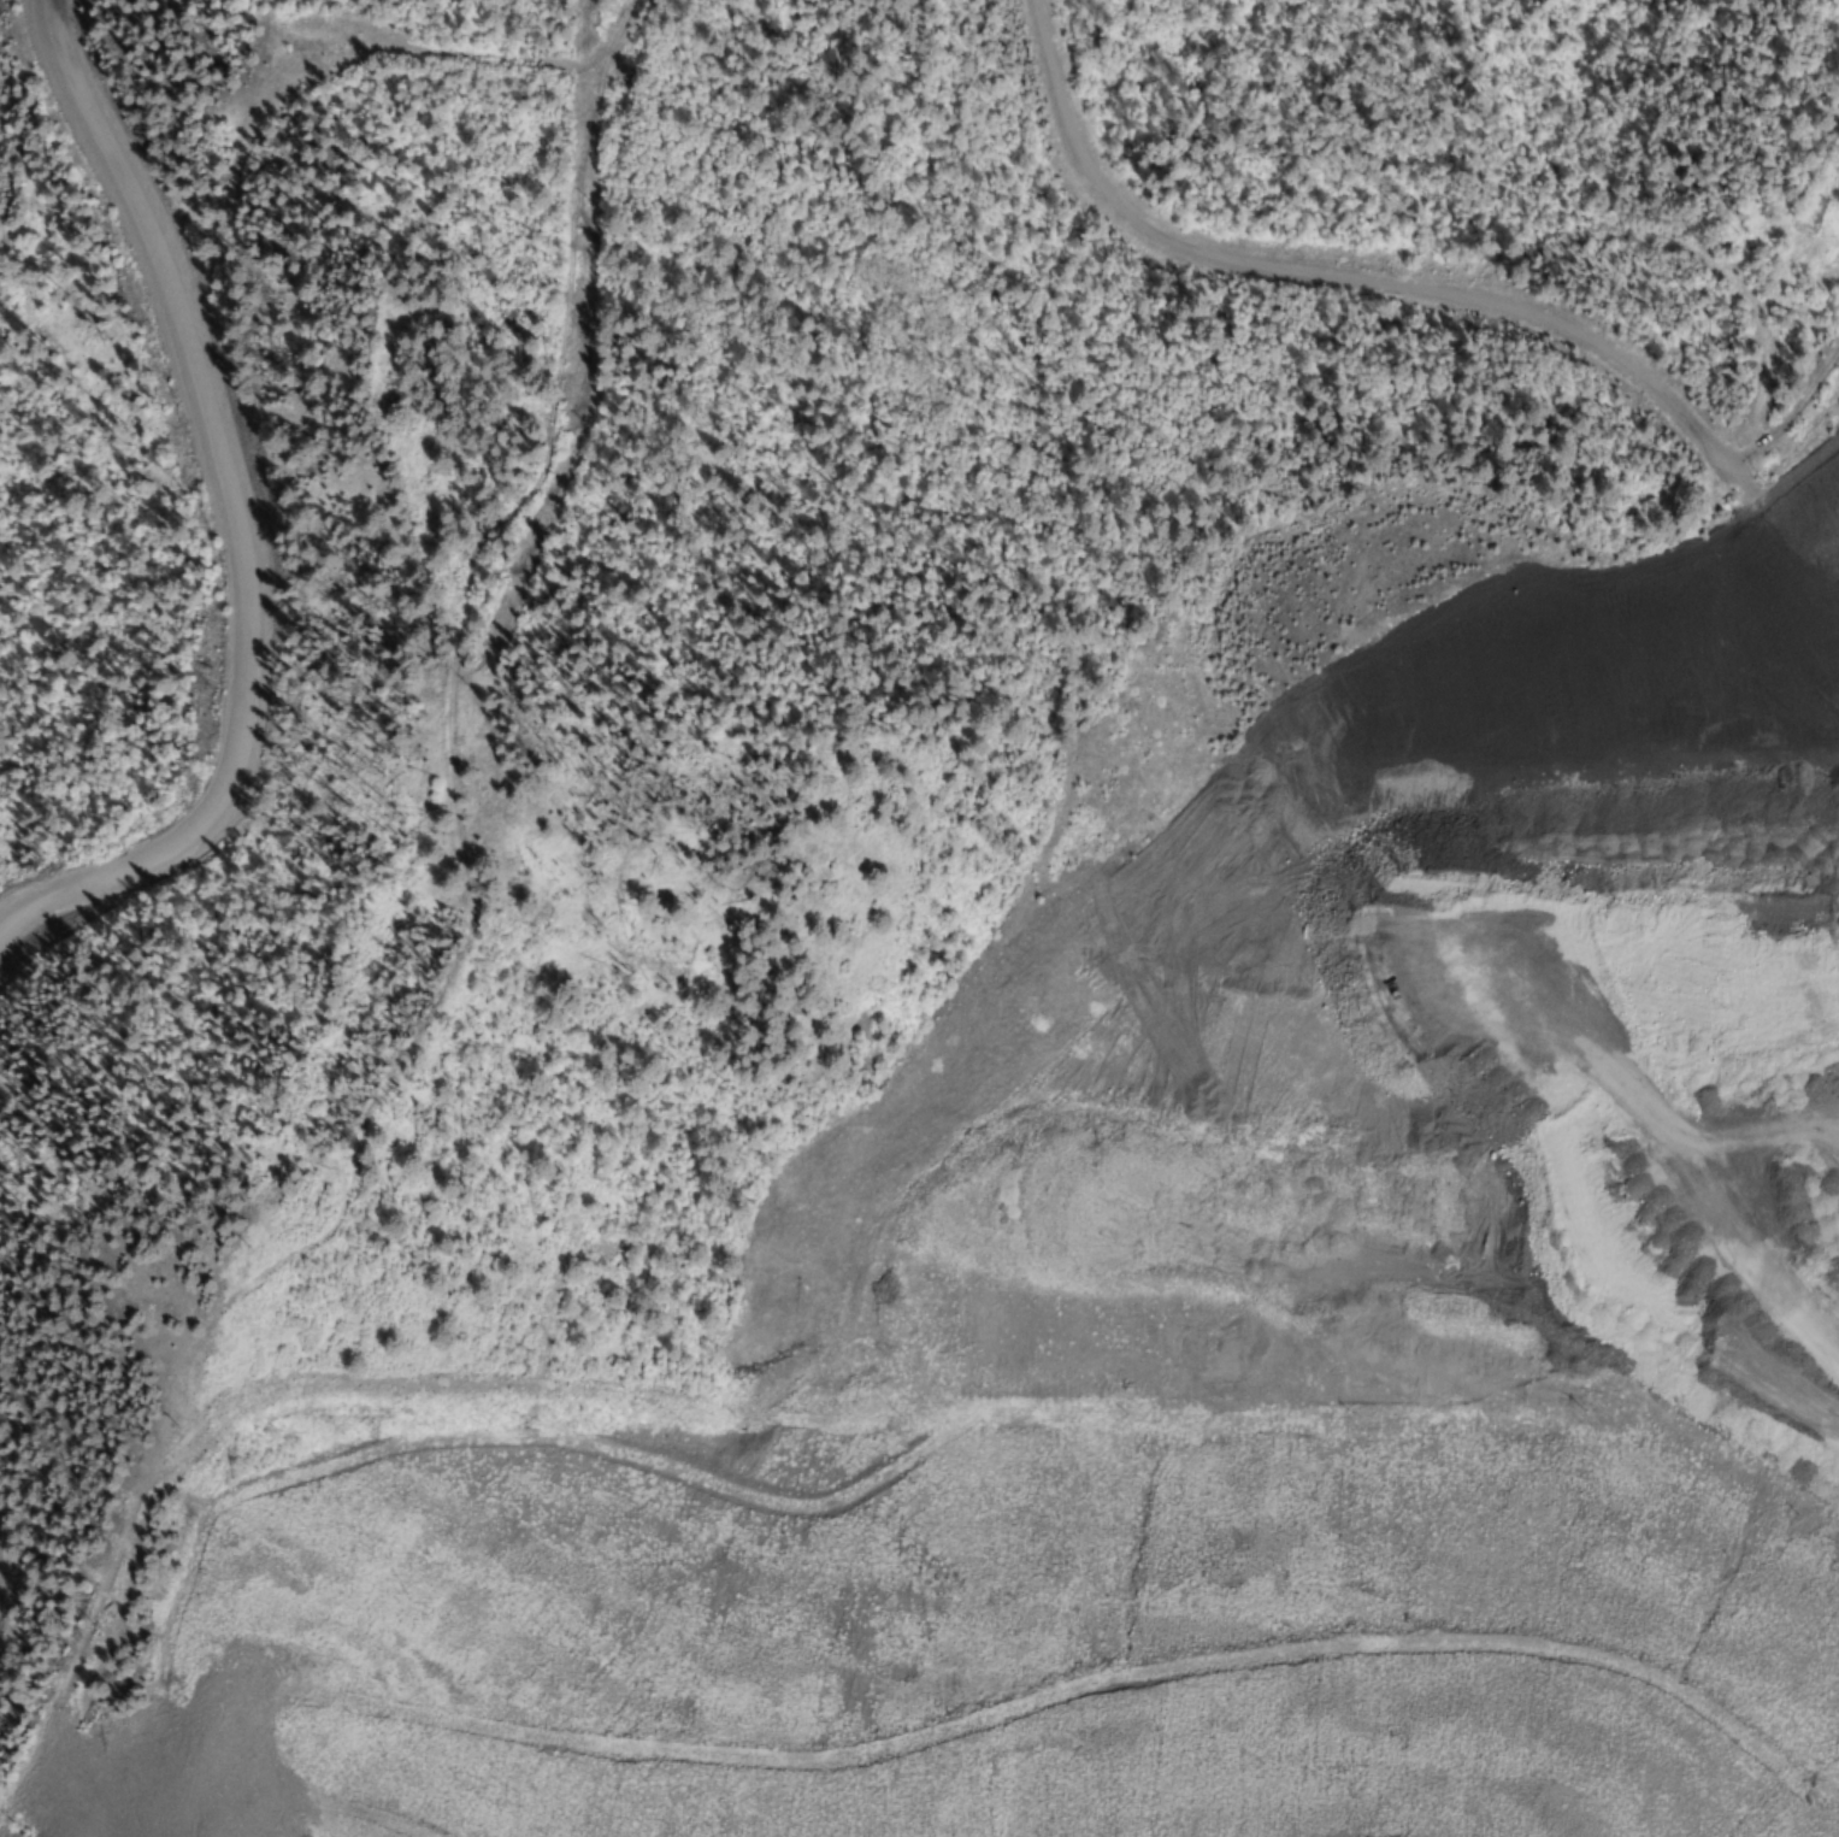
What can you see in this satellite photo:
road: (1408, 300)
road: (1788, 416)
road: (244, 518)
quarry: (1399, 1176)

